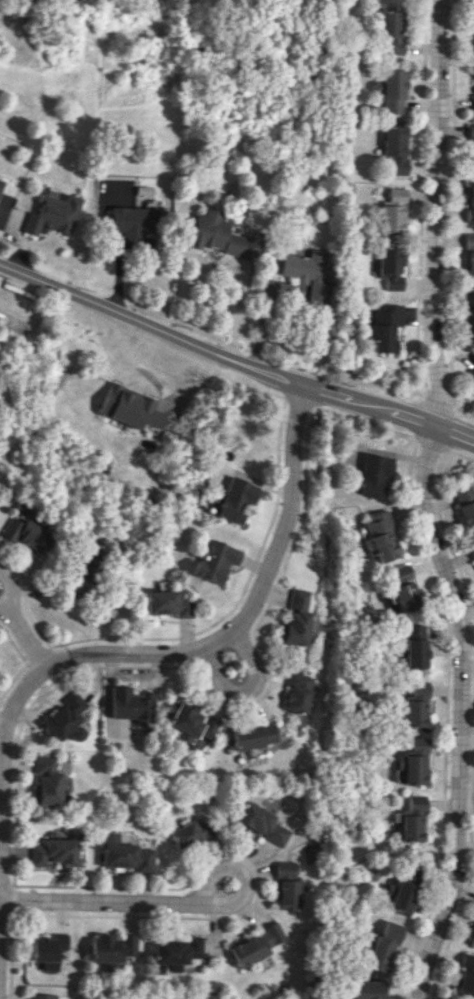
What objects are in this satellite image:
building: (391, 32)
building: (393, 91)
building: (471, 102)
building: (470, 146)
building: (395, 148)
building: (1, 182)
building: (470, 200)
building: (393, 210)
road: (437, 212)
building: (52, 214)
building: (135, 220)
building: (222, 236)
road: (36, 251)
building: (469, 256)
building: (391, 267)
building: (306, 272)
building: (0, 314)
building: (386, 327)
road: (175, 349)
road: (234, 359)
road: (136, 361)
building: (471, 372)
road: (300, 401)
road: (439, 402)
building: (131, 407)
road: (463, 414)
road: (365, 421)
road: (448, 430)
road: (431, 442)
road: (460, 454)
building: (375, 475)
building: (235, 499)
building: (466, 507)
road: (446, 532)
building: (27, 535)
building: (378, 537)
building: (473, 555)
building: (213, 561)
road: (10, 587)
building: (404, 588)
road: (236, 596)
road: (22, 598)
building: (164, 604)
building: (293, 617)
road: (23, 634)
road: (12, 644)
building: (413, 645)
road: (170, 649)
road: (34, 653)
road: (10, 676)
road: (200, 686)
road: (242, 689)
building: (295, 692)
building: (125, 703)
building: (414, 708)
road: (460, 710)
building: (63, 717)
building: (186, 724)
building: (249, 735)
building: (413, 762)
building: (45, 781)
building: (412, 819)
building: (260, 823)
road: (470, 833)
building: (188, 834)
building: (53, 853)
building: (124, 854)
road: (231, 866)
building: (287, 885)
building: (400, 895)
road: (11, 899)
road: (106, 901)
building: (473, 937)
building: (256, 945)
building: (383, 947)
building: (111, 948)
building: (47, 950)
building: (176, 952)
road: (9, 956)
building: (466, 977)
building: (368, 989)
building: (41, 996)

